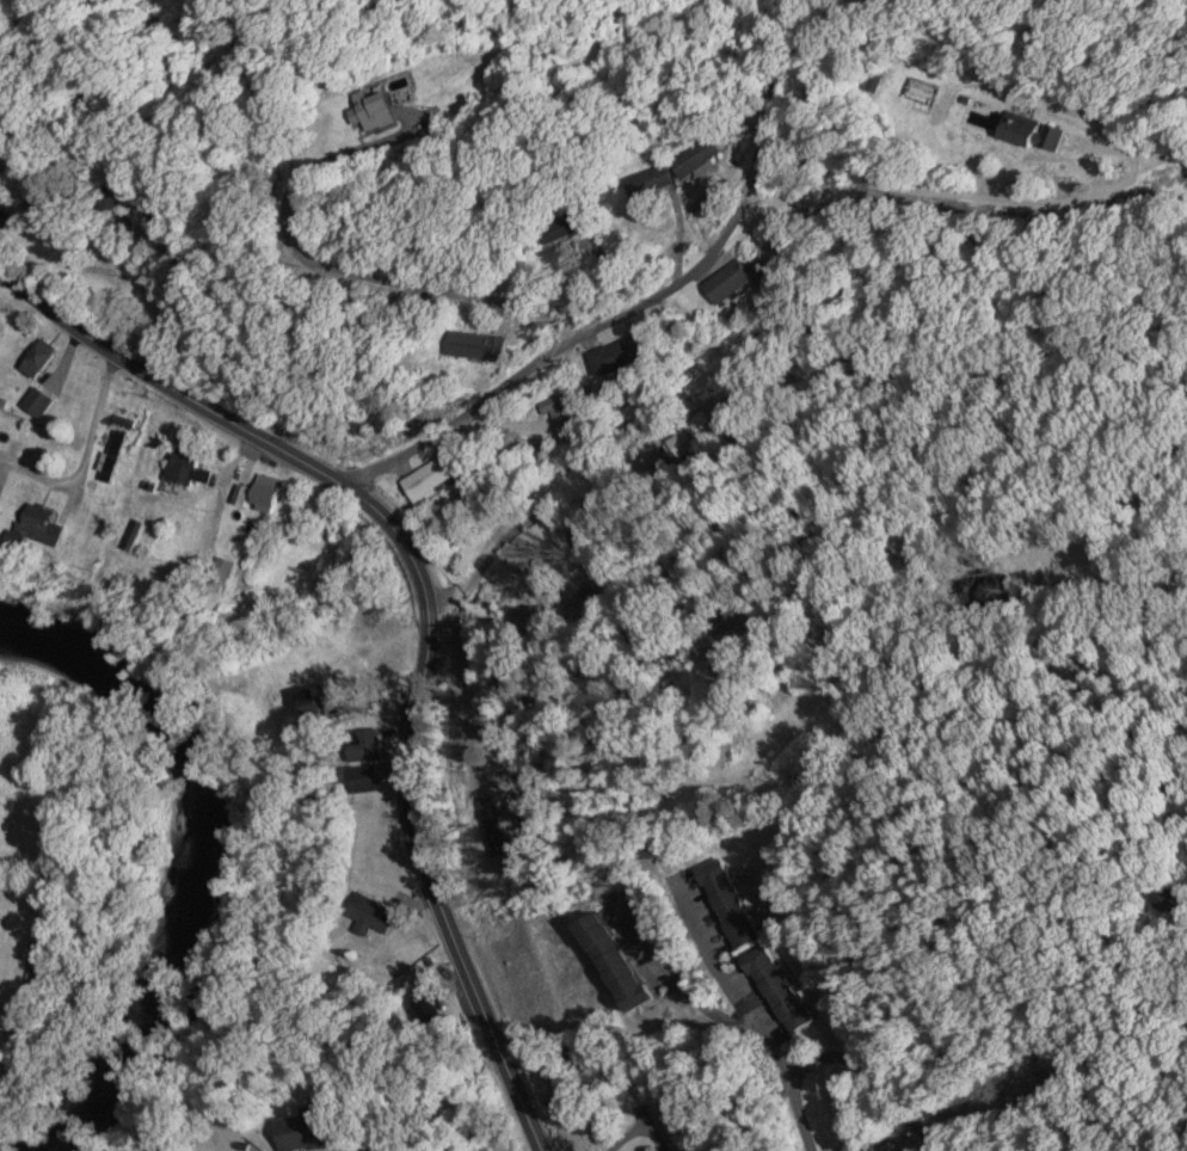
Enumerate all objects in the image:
building: (878, 80)
road: (450, 110)
building: (1026, 131)
building: (700, 155)
building: (648, 180)
road: (742, 209)
building: (555, 229)
building: (728, 283)
building: (488, 345)
building: (47, 357)
building: (615, 357)
building: (115, 454)
building: (191, 468)
building: (441, 473)
building: (265, 498)
road: (626, 498)
building: (1, 506)
building: (45, 524)
building: (94, 527)
road: (430, 613)
building: (321, 704)
building: (369, 744)
building: (367, 777)
river: (205, 855)
building: (726, 904)
building: (368, 915)
building: (604, 962)
building: (776, 989)
road: (845, 1059)
building: (301, 1131)

